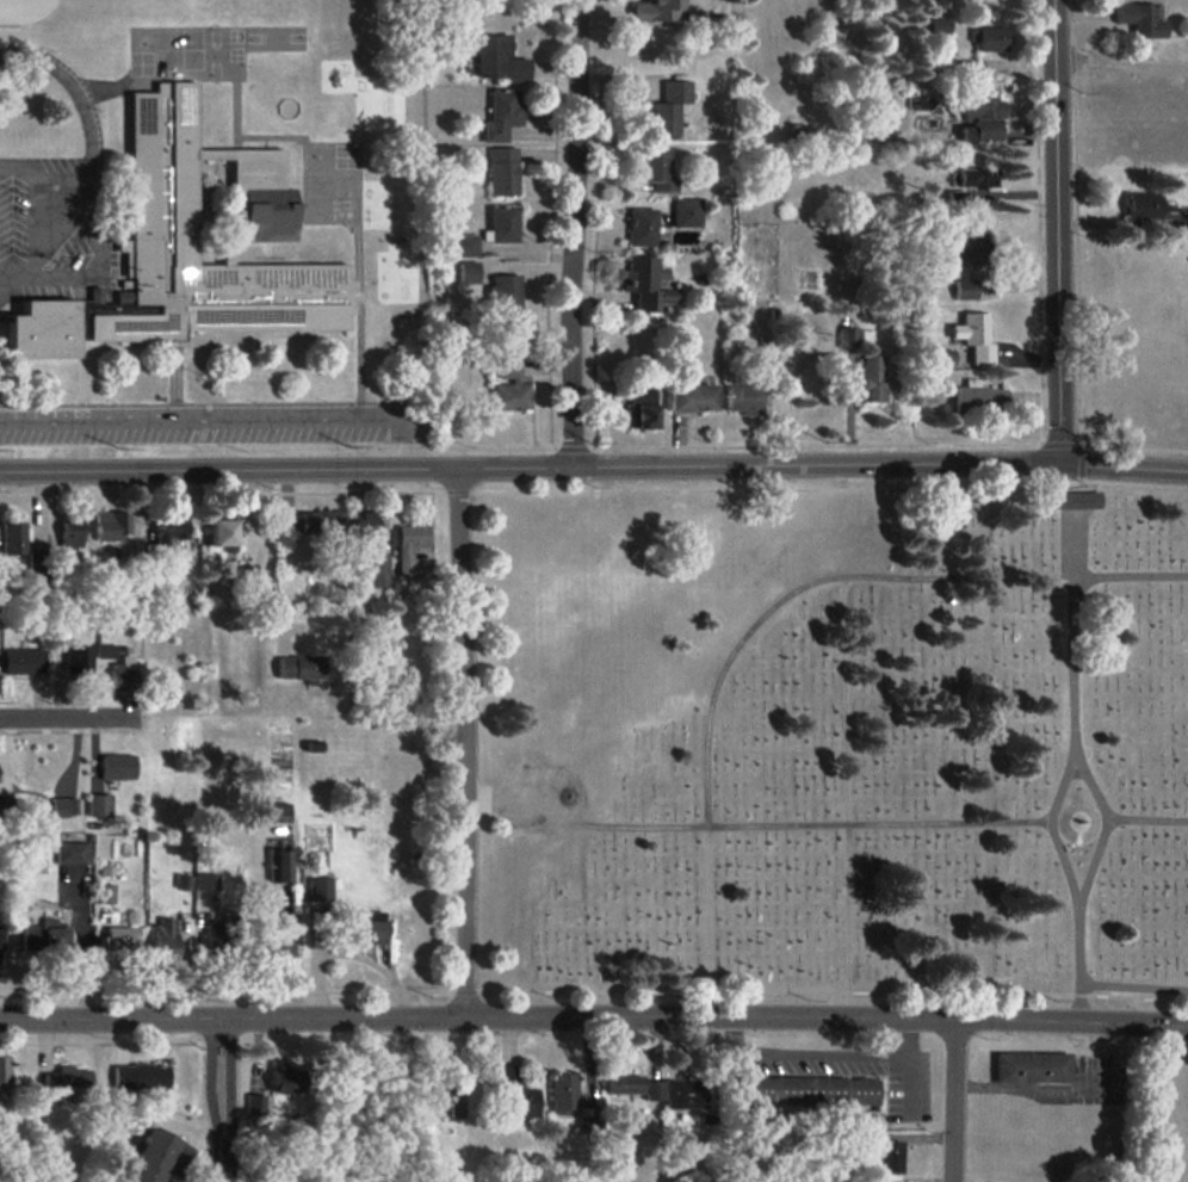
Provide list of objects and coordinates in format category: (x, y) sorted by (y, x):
building: (656, 10)
building: (1139, 19)
building: (991, 38)
building: (497, 58)
road: (1119, 62)
building: (667, 107)
building: (501, 113)
building: (979, 115)
road: (85, 118)
building: (655, 168)
building: (502, 171)
building: (977, 177)
building: (965, 194)
building: (1145, 205)
building: (686, 211)
road: (51, 218)
building: (502, 223)
building: (641, 227)
road: (1053, 228)
road: (569, 233)
building: (465, 245)
building: (967, 249)
building: (190, 252)
building: (469, 272)
building: (646, 283)
building: (965, 289)
building: (505, 291)
building: (848, 336)
building: (974, 336)
building: (943, 357)
building: (768, 365)
building: (872, 378)
building: (509, 386)
building: (979, 396)
building: (691, 397)
building: (743, 398)
building: (641, 404)
road: (224, 419)
road: (594, 464)
building: (1078, 502)
building: (321, 521)
building: (365, 524)
building: (111, 525)
building: (168, 527)
building: (222, 534)
building: (70, 536)
building: (12, 537)
building: (409, 546)
road: (267, 547)
building: (376, 568)
road: (787, 593)
building: (104, 650)
building: (78, 658)
building: (23, 660)
building: (299, 666)
building: (119, 674)
road: (62, 714)
road: (462, 738)
park: (834, 743)
building: (116, 766)
road: (1082, 768)
building: (98, 804)
building: (63, 806)
building: (278, 811)
road: (1149, 818)
road: (751, 825)
road: (1050, 828)
building: (73, 852)
building: (281, 861)
building: (205, 880)
building: (186, 883)
building: (105, 892)
road: (847, 917)
building: (366, 927)
building: (163, 936)
building: (0, 937)
building: (42, 937)
building: (119, 940)
building: (216, 942)
building: (268, 946)
road: (1134, 985)
road: (594, 1011)
road: (910, 1031)
road: (805, 1052)
building: (1033, 1066)
building: (4, 1072)
building: (138, 1076)
road: (909, 1078)
building: (283, 1079)
building: (66, 1081)
road: (206, 1081)
road: (227, 1081)
building: (635, 1085)
building: (809, 1089)
building: (683, 1093)
building: (514, 1094)
building: (564, 1094)
road: (953, 1097)
building: (456, 1101)
building: (253, 1102)
building: (881, 1152)
building: (153, 1156)
road: (217, 1164)

